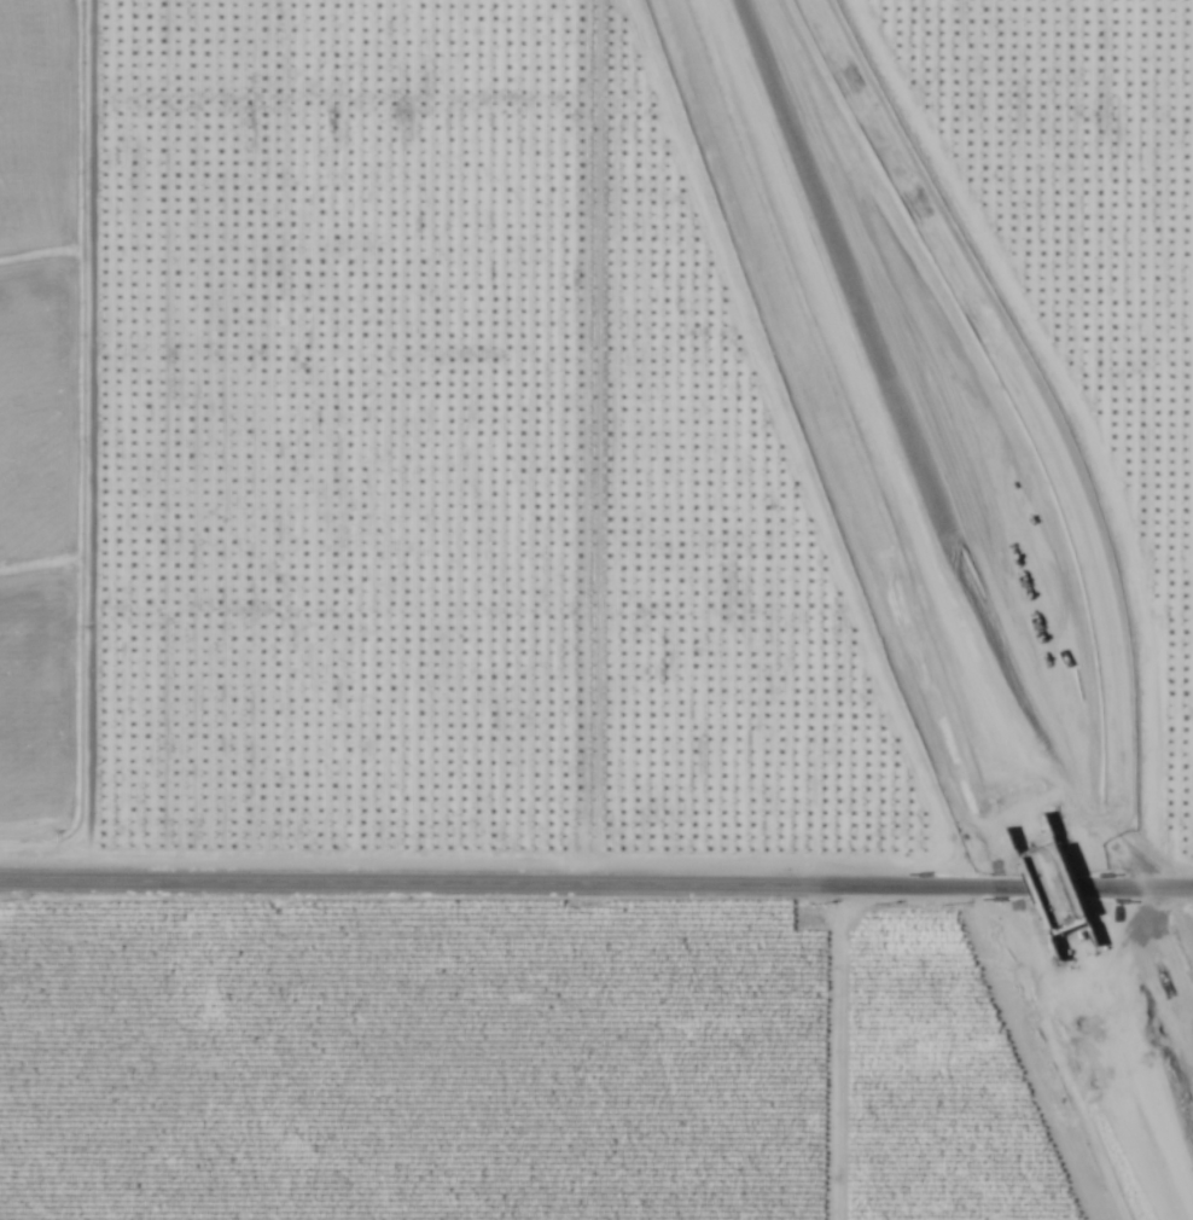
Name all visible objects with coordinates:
crop: (35, 129)
crop: (36, 414)
railway: (872, 426)
railway: (861, 429)
road: (81, 441)
crop: (35, 707)
road: (596, 885)
railway: (1058, 889)
railway: (1048, 894)
road: (830, 1053)
crop: (406, 1064)
railway: (1134, 1070)
railway: (1125, 1076)
crop: (927, 1087)

